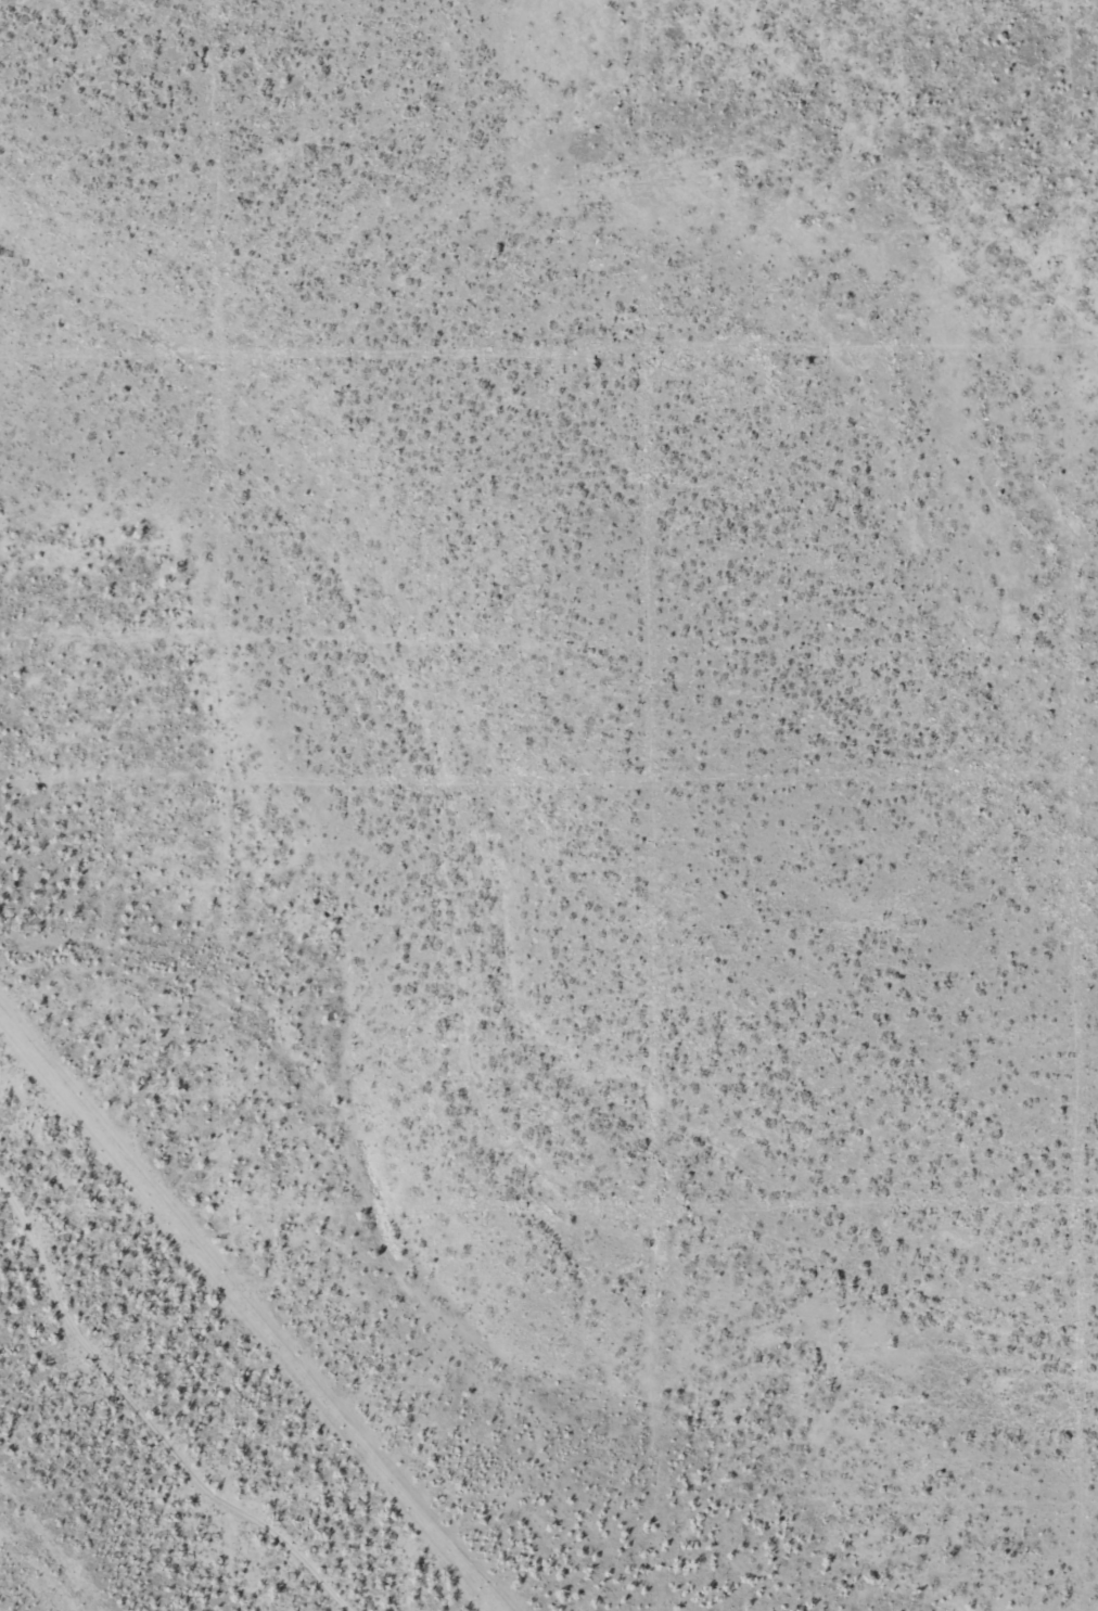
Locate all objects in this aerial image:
road: (118, 1416)

